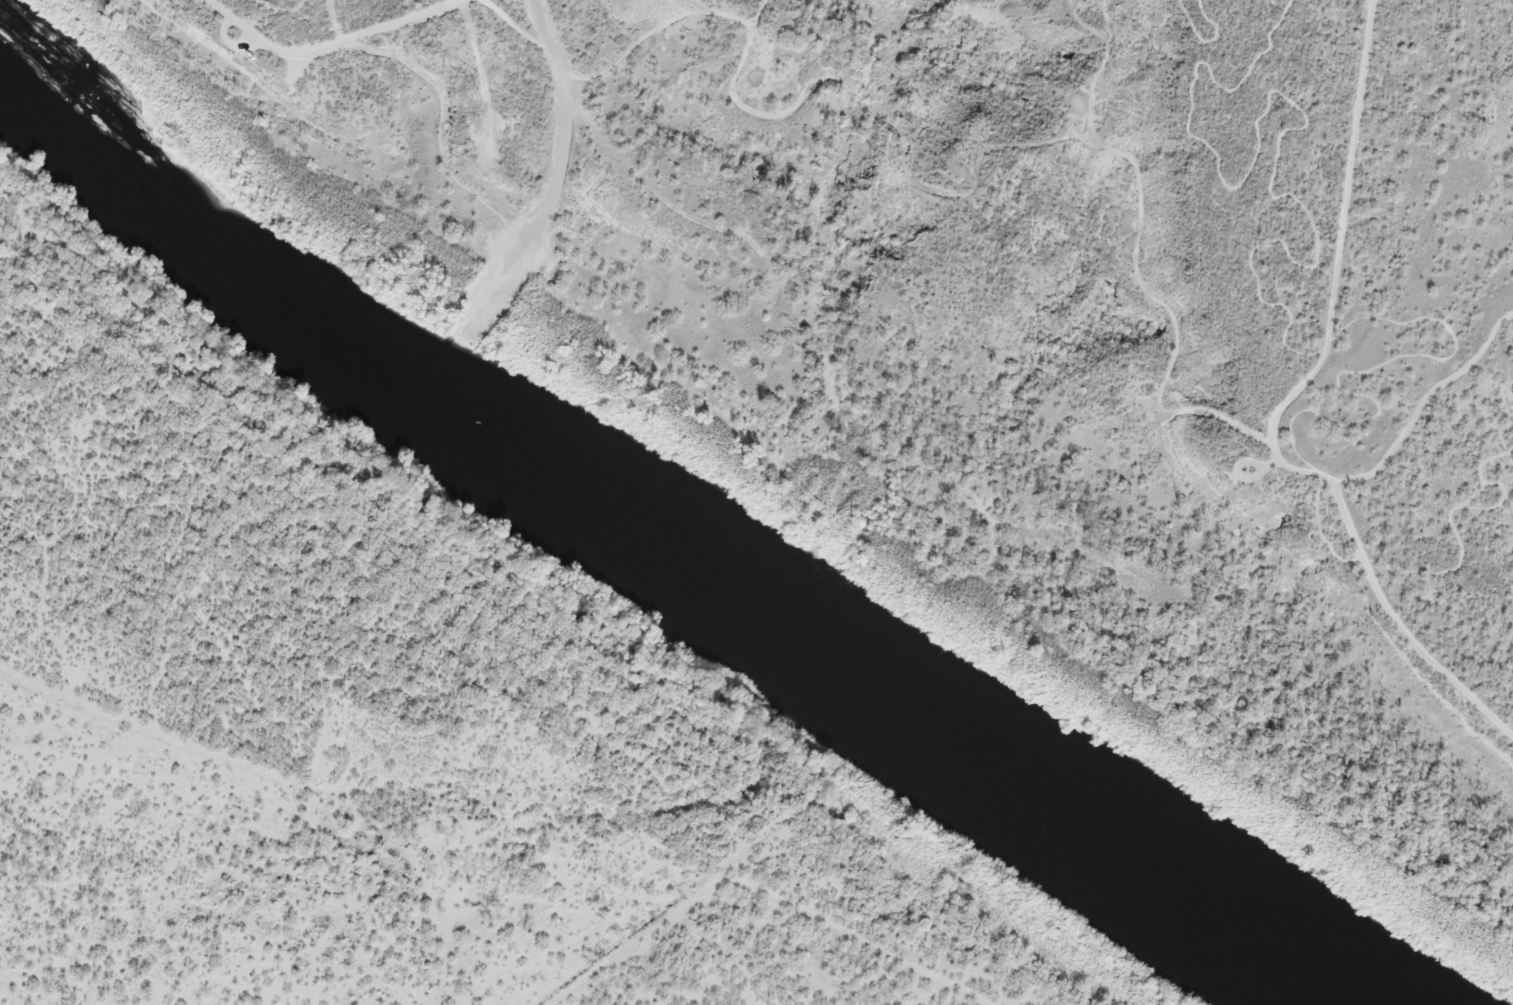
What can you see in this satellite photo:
river: (667, 549)

